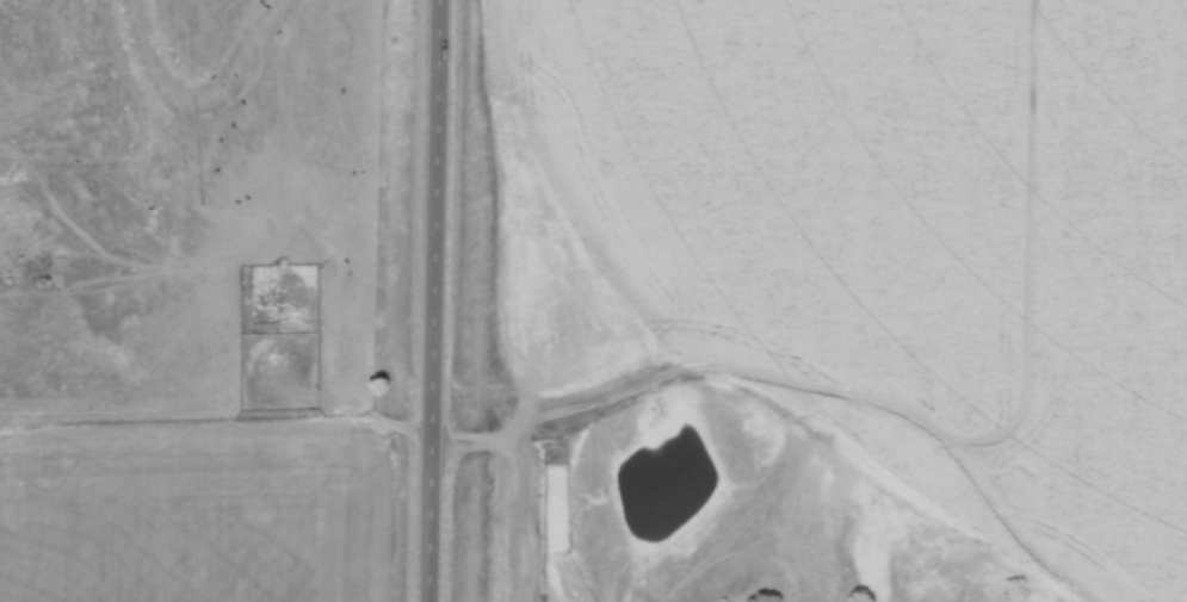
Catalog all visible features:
crop: (880, 238)
road: (440, 300)
crop: (194, 516)
building: (536, 544)

